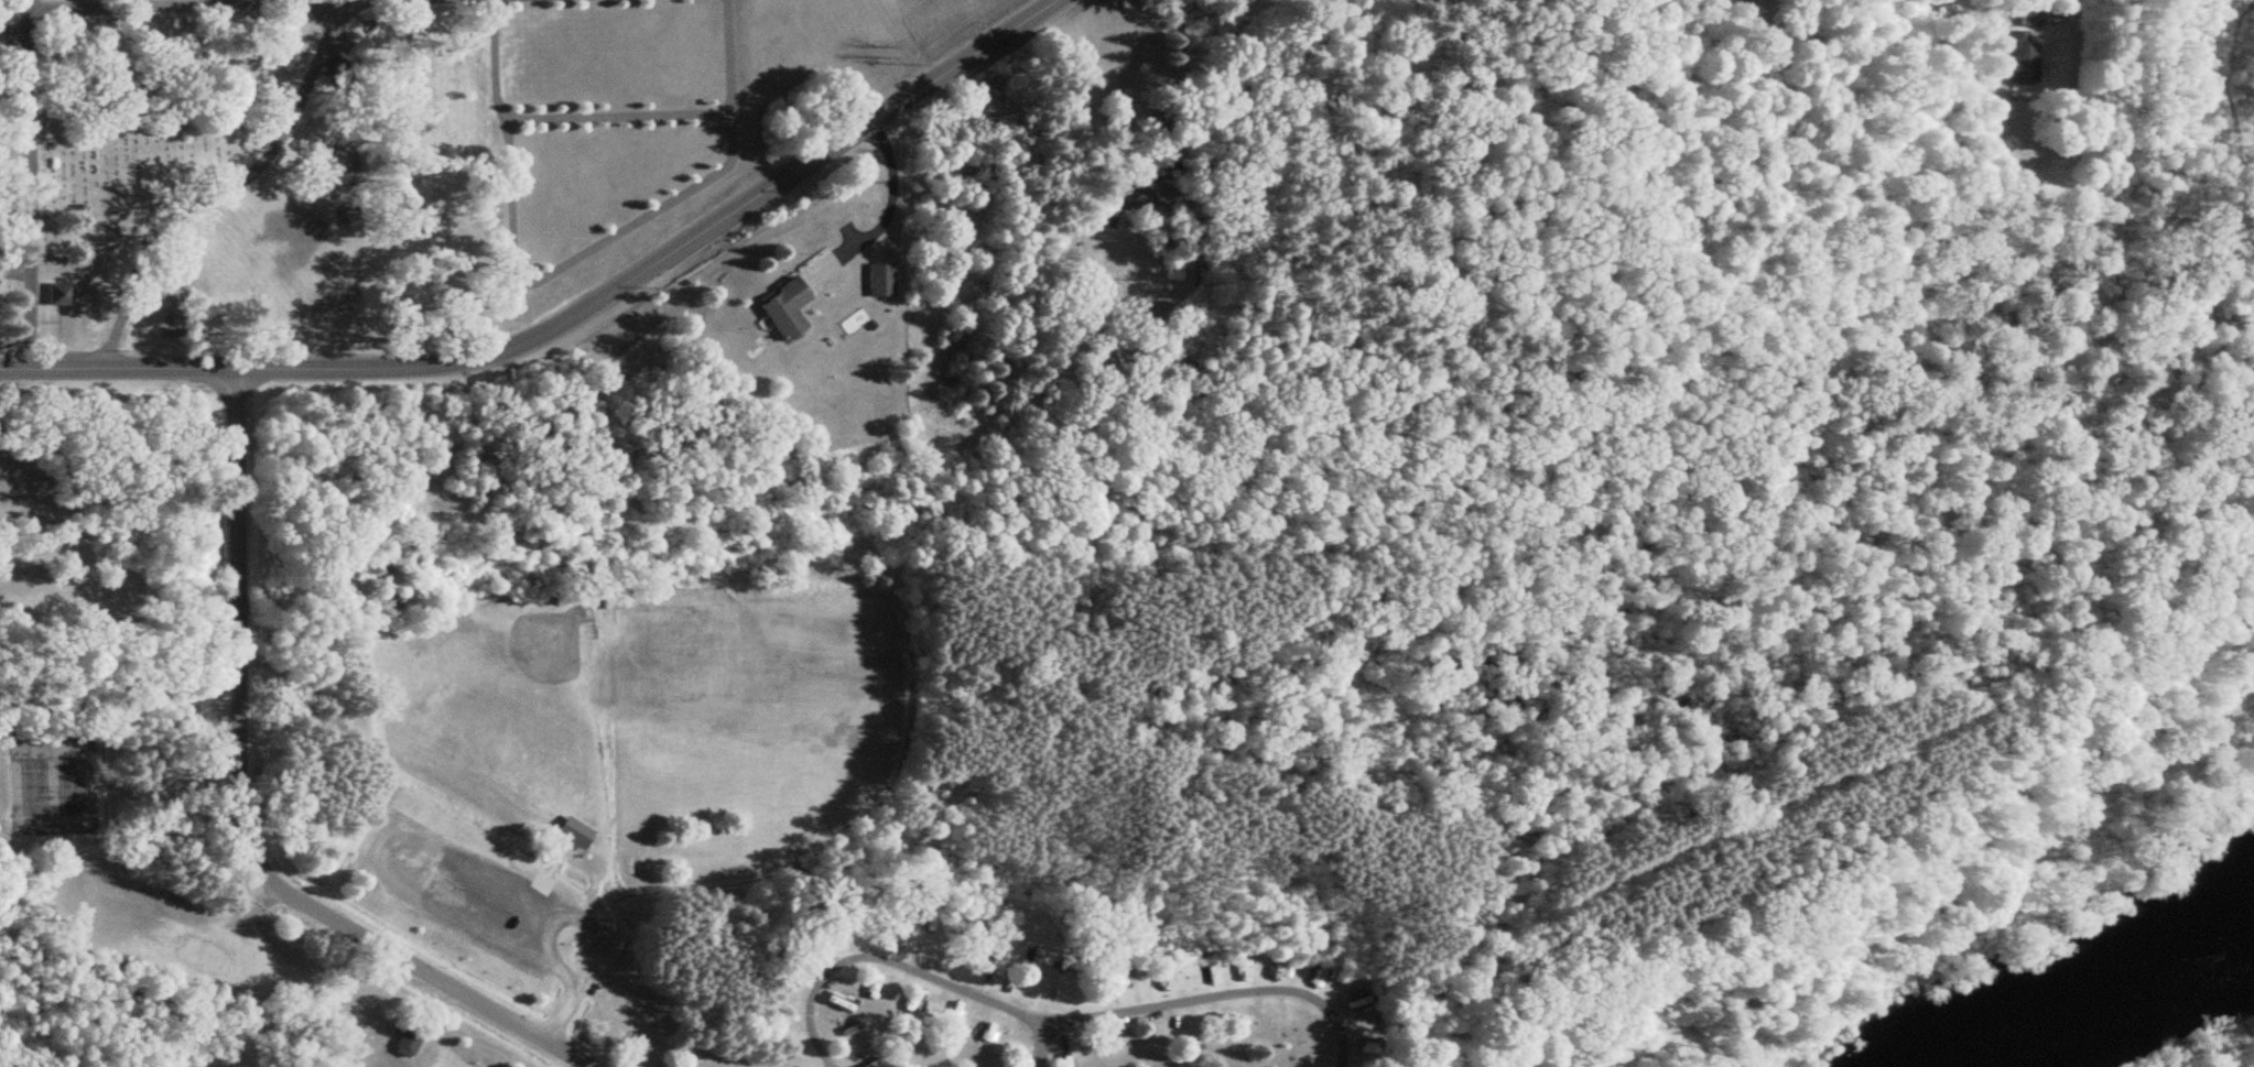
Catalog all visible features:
road: (2067, 11)
building: (2023, 17)
building: (2015, 57)
road: (608, 116)
park: (344, 162)
road: (28, 184)
road: (215, 185)
road: (888, 190)
road: (570, 259)
building: (874, 281)
building: (773, 308)
road: (567, 315)
road: (73, 504)
park: (486, 701)
park: (715, 701)
park: (500, 761)
road: (1808, 773)
park: (24, 786)
park: (69, 786)
road: (237, 813)
road: (419, 837)
parking lot: (456, 890)
building: (867, 987)
river: (2123, 998)
building: (834, 1001)
building: (1353, 1002)
building: (903, 1004)
building: (947, 1015)
road: (1048, 1023)
building: (837, 1036)
building: (397, 1045)
road: (1037, 1046)

